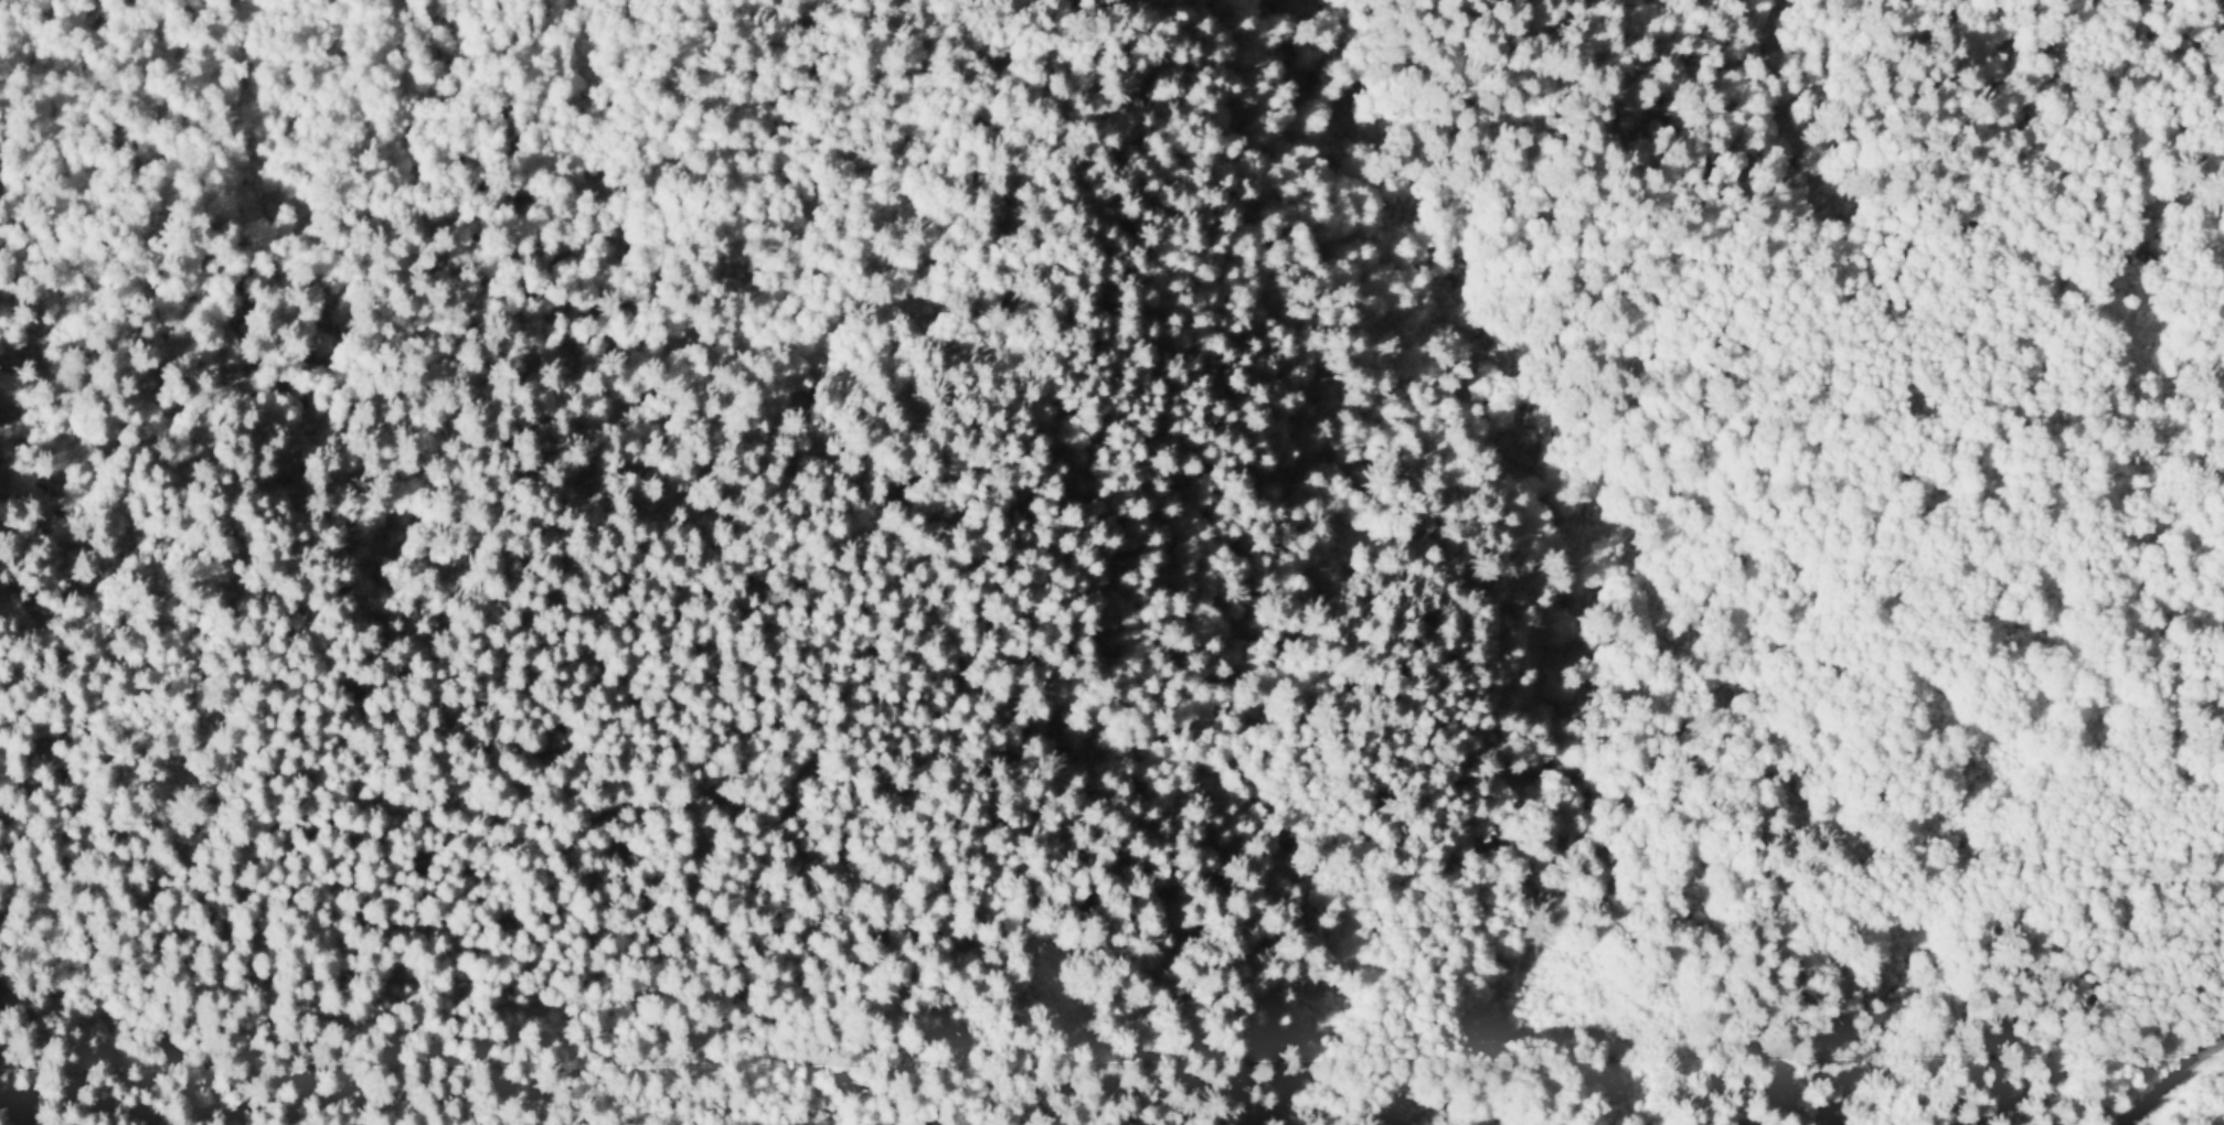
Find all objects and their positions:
road: (2172, 1078)

